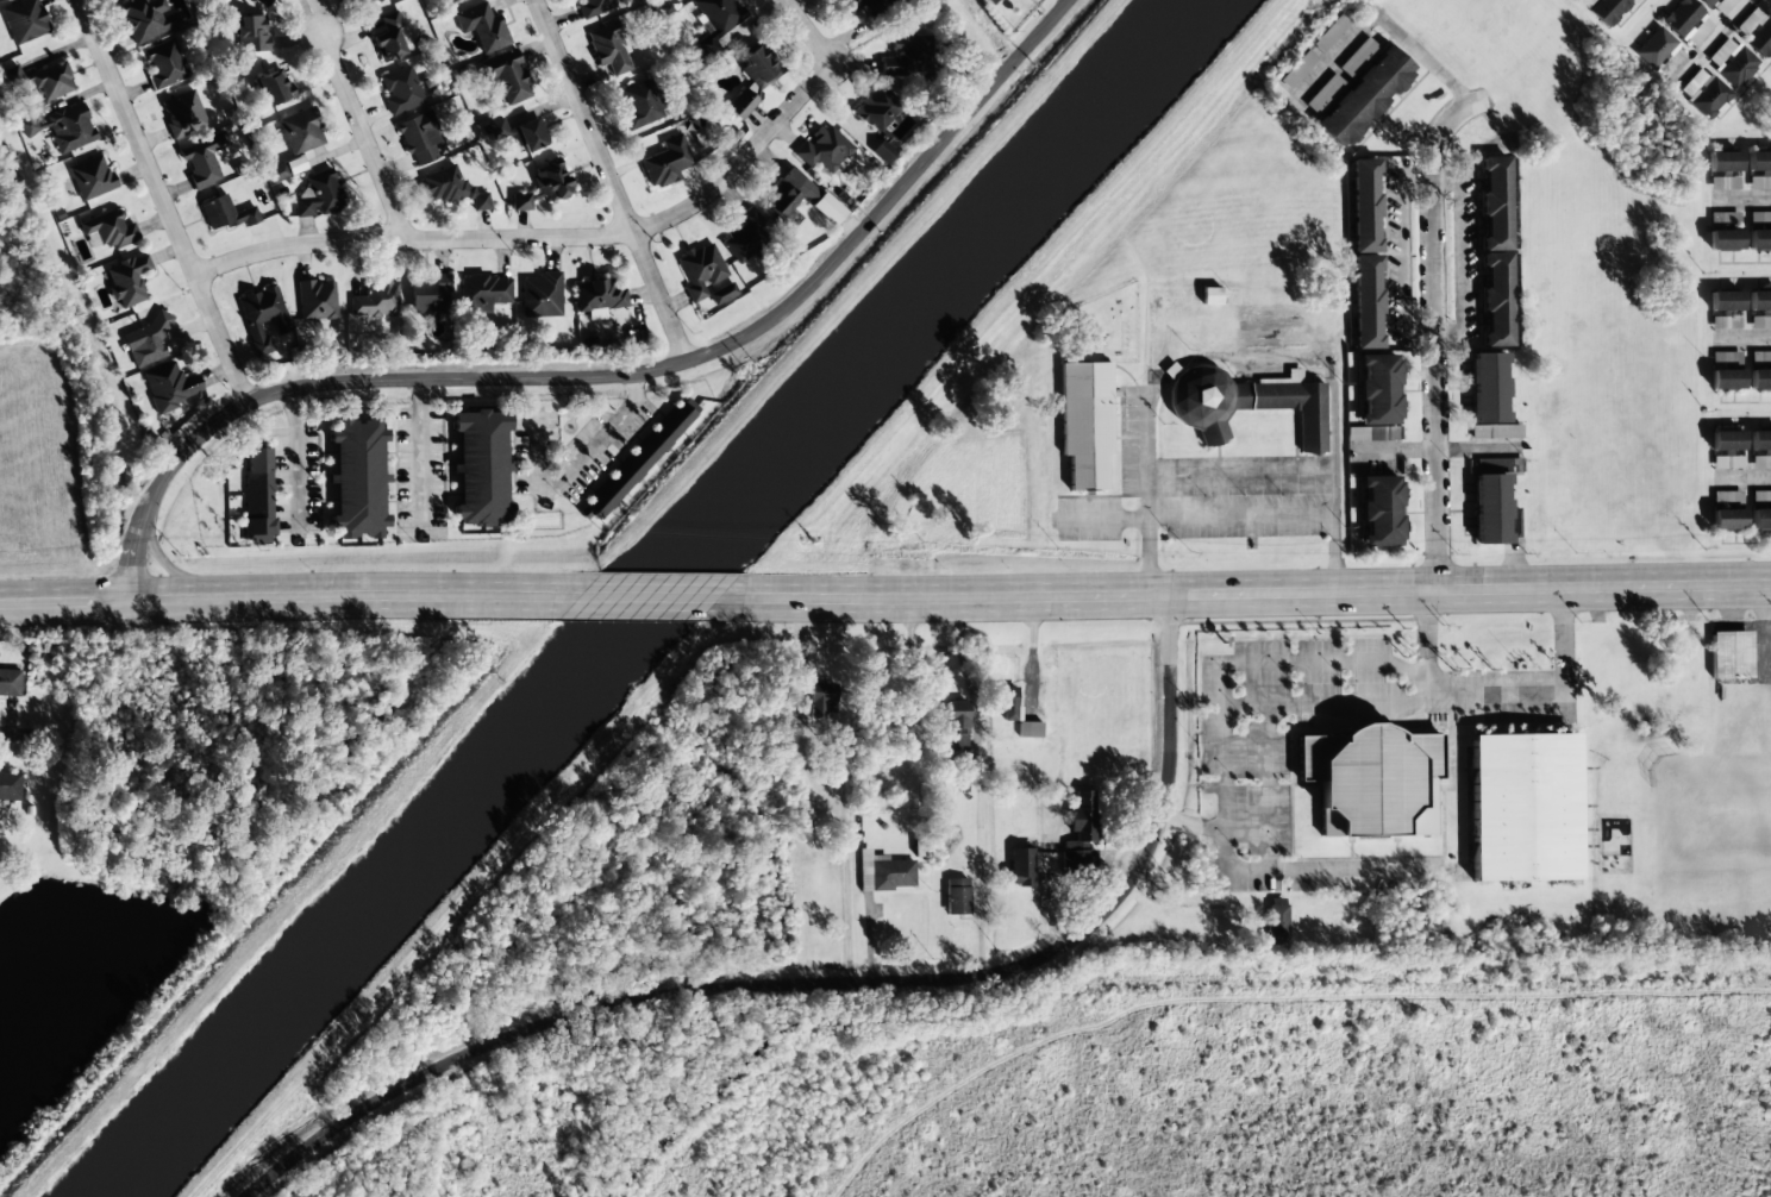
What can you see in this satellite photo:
building: (357, 0)
building: (258, 1)
building: (377, 1)
building: (448, 1)
building: (990, 1)
building: (1717, 5)
building: (593, 6)
building: (869, 6)
building: (1607, 10)
building: (716, 14)
building: (146, 19)
building: (23, 20)
building: (1685, 20)
building: (481, 26)
building: (1756, 31)
building: (1331, 32)
building: (250, 33)
building: (389, 38)
road: (1710, 42)
building: (1653, 48)
building: (608, 49)
building: (907, 56)
building: (1357, 58)
building: (1731, 62)
building: (163, 64)
building: (1297, 70)
building: (505, 76)
building: (752, 79)
building: (42, 80)
building: (271, 87)
building: (399, 89)
building: (1323, 94)
building: (1363, 98)
building: (1708, 99)
building: (638, 106)
building: (877, 107)
building: (181, 114)
building: (69, 130)
building: (299, 133)
building: (518, 133)
road: (364, 138)
building: (417, 138)
building: (702, 139)
building: (822, 148)
building: (882, 151)
building: (200, 162)
building: (1722, 162)
building: (1758, 162)
building: (664, 163)
building: (287, 169)
building: (90, 177)
road: (611, 180)
building: (1759, 182)
building: (1723, 183)
building: (442, 184)
building: (542, 187)
building: (788, 194)
building: (317, 195)
road: (162, 201)
building: (478, 201)
building: (827, 209)
building: (223, 214)
building: (1722, 219)
building: (1759, 219)
building: (108, 231)
road: (581, 233)
building: (745, 234)
building: (1723, 240)
building: (1759, 240)
building: (1495, 251)
building: (1364, 255)
building: (703, 275)
building: (126, 280)
building: (482, 293)
building: (539, 295)
building: (597, 295)
building: (427, 296)
building: (1210, 296)
building: (375, 299)
building: (317, 300)
building: (1759, 301)
building: (1723, 309)
building: (262, 317)
building: (1759, 321)
road: (1437, 332)
building: (144, 340)
building: (1725, 358)
building: (1760, 358)
road: (612, 375)
building: (1725, 380)
building: (1759, 380)
building: (168, 386)
building: (1487, 388)
building: (1377, 390)
building: (1241, 405)
building: (1084, 422)
building: (1495, 432)
building: (1356, 434)
building: (1725, 440)
building: (1760, 440)
building: (638, 458)
building: (1760, 462)
building: (480, 469)
building: (356, 478)
building: (256, 491)
building: (1726, 497)
building: (1760, 497)
building: (1489, 501)
building: (1378, 512)
building: (1726, 519)
building: (1760, 519)
building: (1514, 522)
road: (1252, 594)
road: (283, 598)
road: (651, 598)
building: (1729, 654)
building: (8, 682)
building: (821, 701)
building: (1005, 702)
building: (956, 725)
building: (1028, 729)
road: (5, 732)
building: (1372, 782)
building: (10, 785)
building: (1522, 808)
building: (805, 815)
building: (1080, 833)
building: (1019, 866)
building: (883, 872)
building: (956, 897)
building: (1275, 921)
road: (826, 983)

